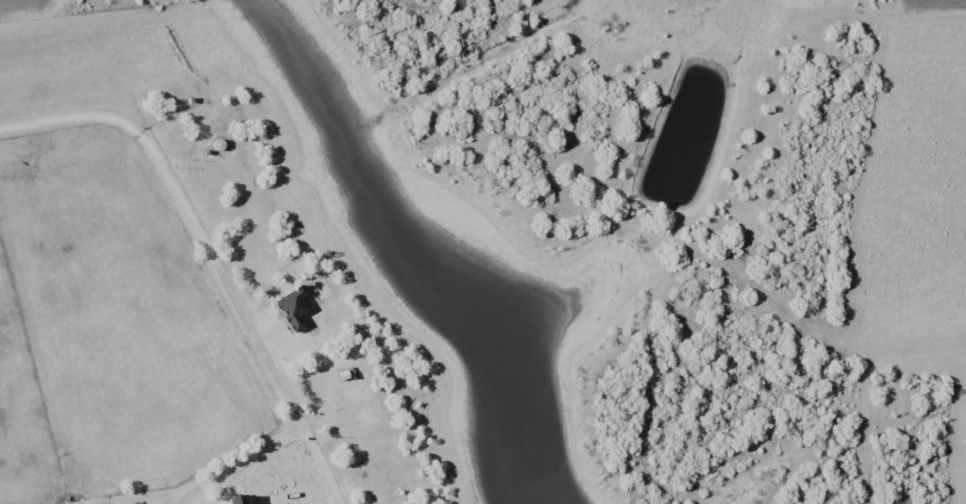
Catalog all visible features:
road: (481, 192)
building: (300, 316)

